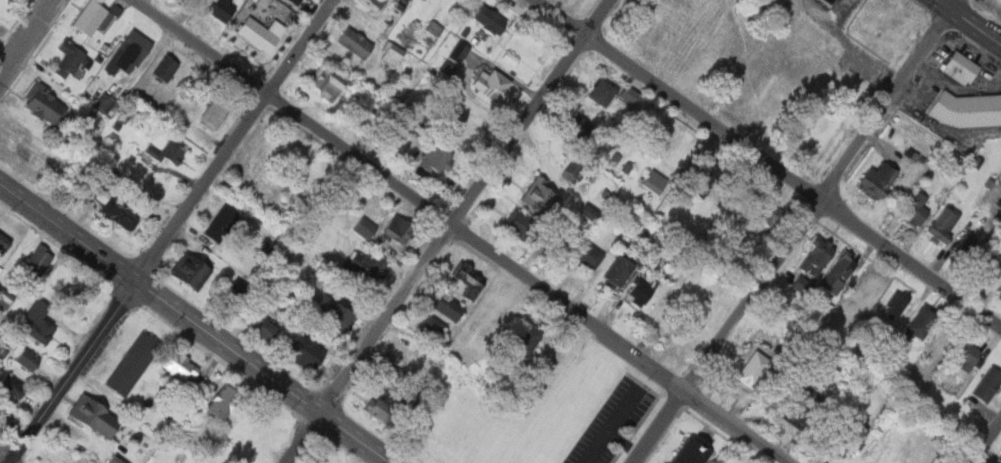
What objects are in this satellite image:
building: (290, 1)
building: (295, 1)
building: (831, 1)
building: (261, 3)
building: (377, 3)
building: (222, 8)
road: (185, 13)
building: (91, 17)
building: (484, 19)
road: (968, 22)
building: (432, 28)
building: (259, 33)
road: (25, 38)
building: (354, 42)
building: (459, 51)
building: (128, 53)
building: (391, 53)
building: (70, 59)
building: (445, 67)
building: (166, 68)
building: (960, 68)
building: (327, 80)
building: (495, 85)
building: (603, 89)
building: (629, 95)
building: (102, 102)
building: (45, 105)
building: (966, 110)
building: (216, 112)
building: (130, 119)
building: (475, 125)
building: (579, 130)
building: (395, 131)
building: (168, 152)
building: (908, 153)
building: (435, 159)
road: (767, 163)
building: (646, 180)
building: (880, 180)
building: (541, 196)
building: (916, 210)
building: (121, 212)
building: (767, 216)
building: (222, 224)
building: (943, 225)
building: (524, 226)
building: (365, 228)
road: (171, 229)
building: (397, 229)
road: (446, 230)
road: (464, 231)
road: (797, 233)
building: (3, 244)
building: (965, 245)
building: (590, 256)
building: (816, 259)
building: (33, 263)
building: (367, 266)
building: (989, 266)
building: (620, 270)
building: (191, 271)
building: (840, 272)
building: (469, 283)
building: (797, 286)
building: (866, 291)
building: (640, 292)
building: (999, 295)
building: (5, 300)
building: (670, 303)
building: (895, 304)
building: (448, 307)
building: (500, 308)
building: (336, 316)
building: (921, 322)
building: (34, 323)
road: (198, 323)
building: (431, 327)
building: (263, 330)
building: (530, 340)
building: (307, 350)
building: (968, 356)
building: (23, 358)
building: (133, 363)
building: (179, 365)
building: (748, 366)
building: (6, 384)
building: (988, 384)
building: (225, 401)
building: (385, 405)
building: (802, 407)
building: (1, 414)
building: (96, 416)
building: (845, 438)
road: (986, 442)
building: (693, 451)
road: (6, 458)
building: (1000, 458)
building: (117, 460)
building: (724, 462)

